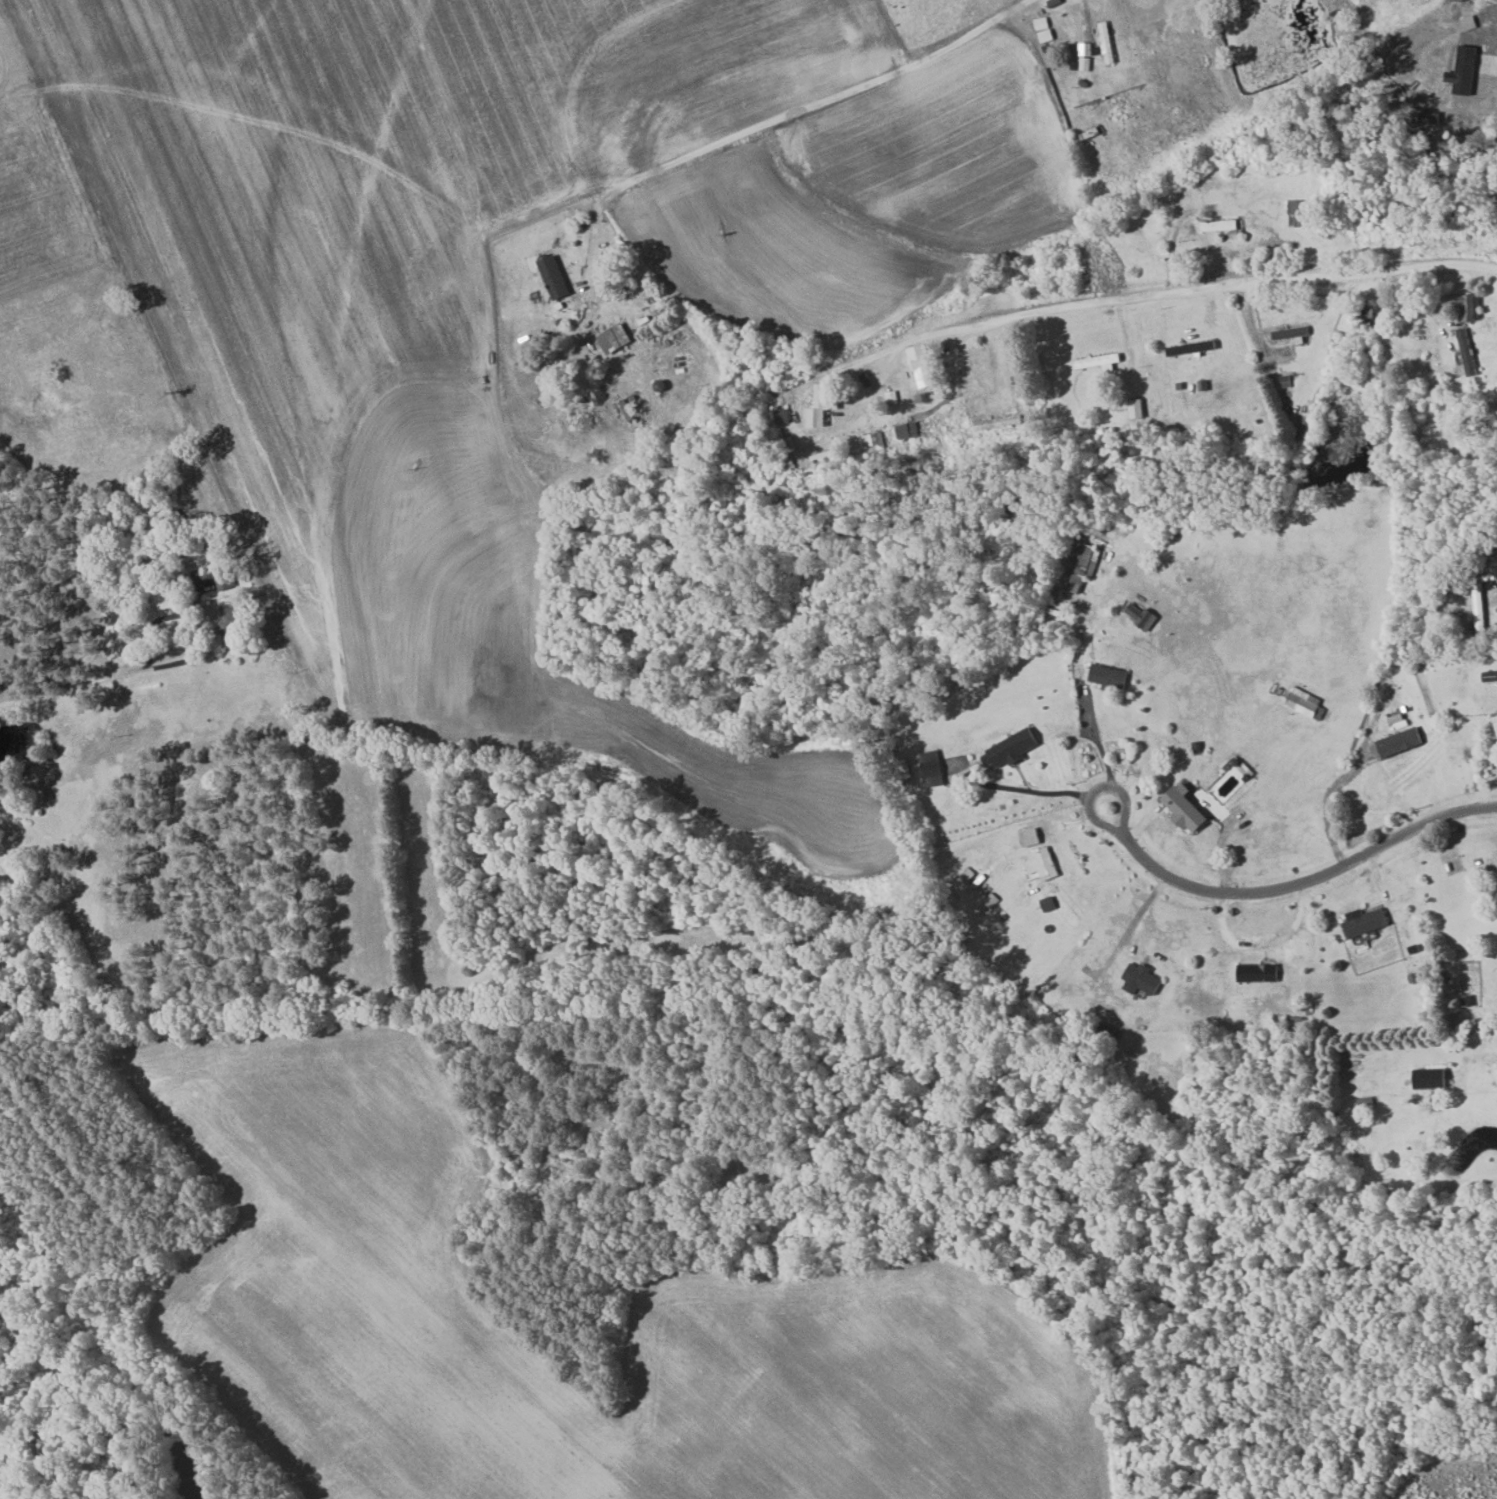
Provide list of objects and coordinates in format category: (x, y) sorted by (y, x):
building: (1044, 29)
road: (785, 115)
building: (1300, 213)
building: (1222, 226)
building: (556, 277)
road: (1188, 289)
building: (1470, 307)
building: (617, 338)
building: (924, 364)
building: (630, 407)
building: (1137, 408)
building: (908, 430)
building: (874, 441)
building: (1080, 563)
building: (225, 577)
building: (172, 594)
building: (1143, 616)
building: (230, 620)
building: (1491, 675)
road: (76, 688)
building: (1305, 703)
building: (1013, 749)
road: (1102, 749)
building: (933, 768)
road: (1062, 793)
building: (1188, 809)
building: (1032, 837)
building: (1044, 865)
road: (1293, 886)
building: (981, 887)
building: (1045, 889)
building: (1367, 921)
building: (1260, 972)
building: (1143, 979)
road: (1496, 1042)
building: (1433, 1078)

